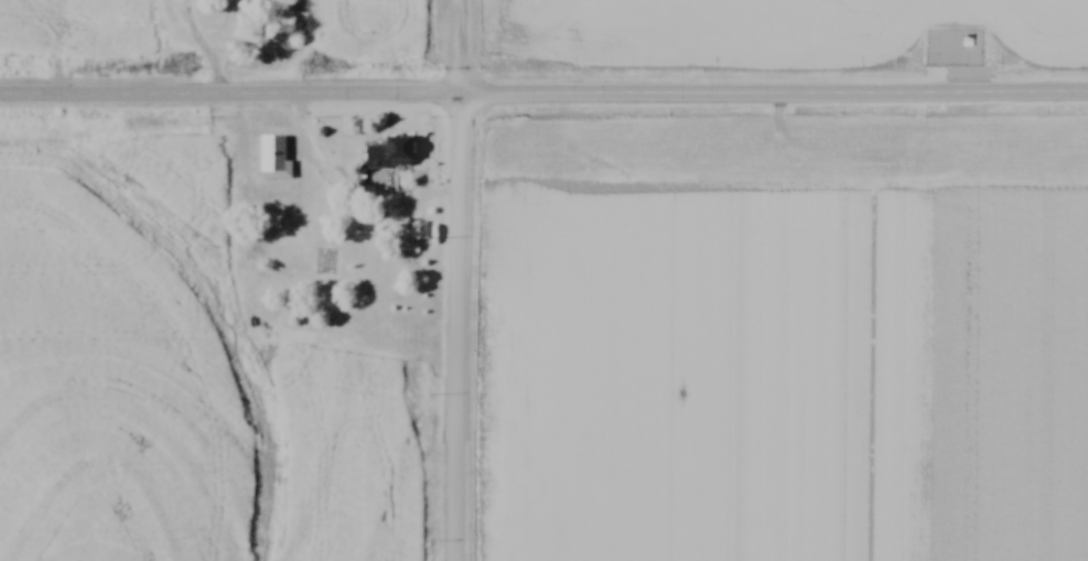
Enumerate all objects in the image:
building: (7, 7)
road: (205, 50)
road: (543, 99)
building: (391, 154)
road: (353, 191)
building: (418, 231)
road: (460, 280)

